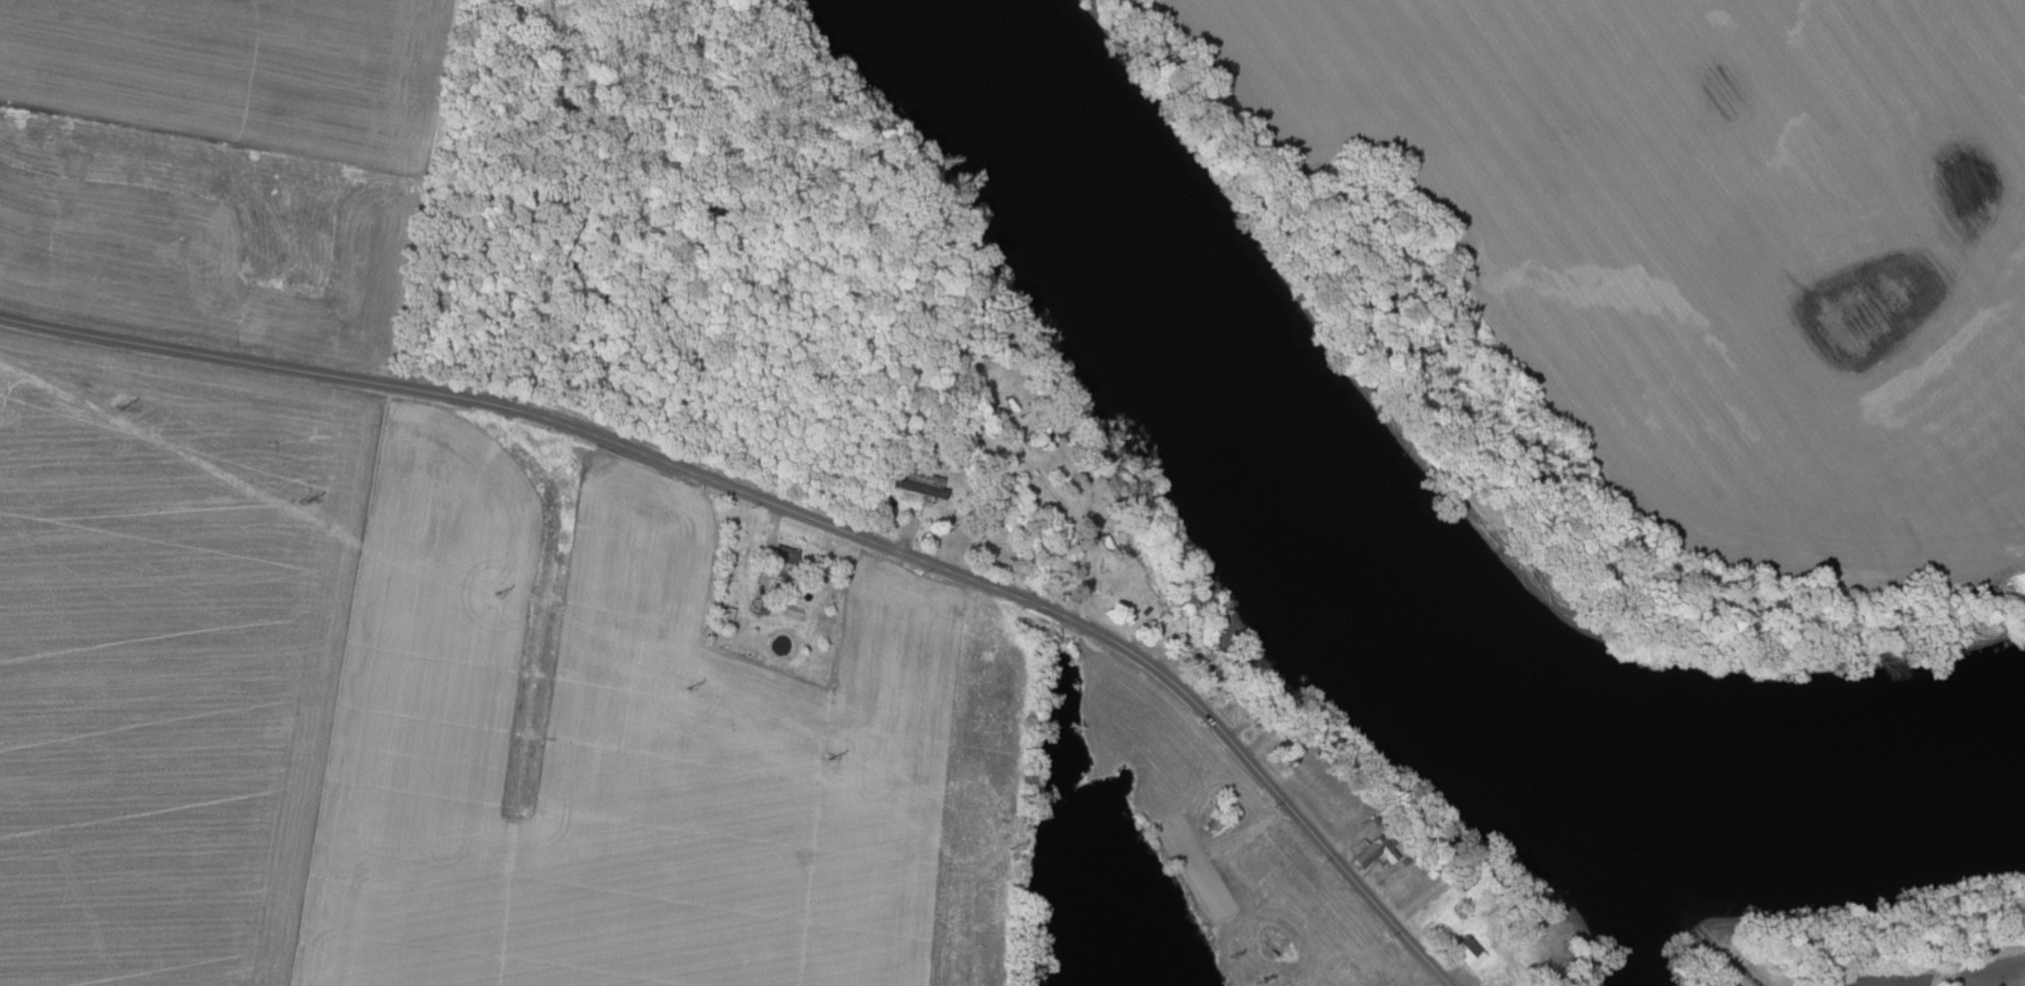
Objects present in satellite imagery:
road: (794, 518)
building: (789, 564)
river: (1371, 565)
building: (1379, 853)
river: (1622, 867)
building: (1473, 953)

